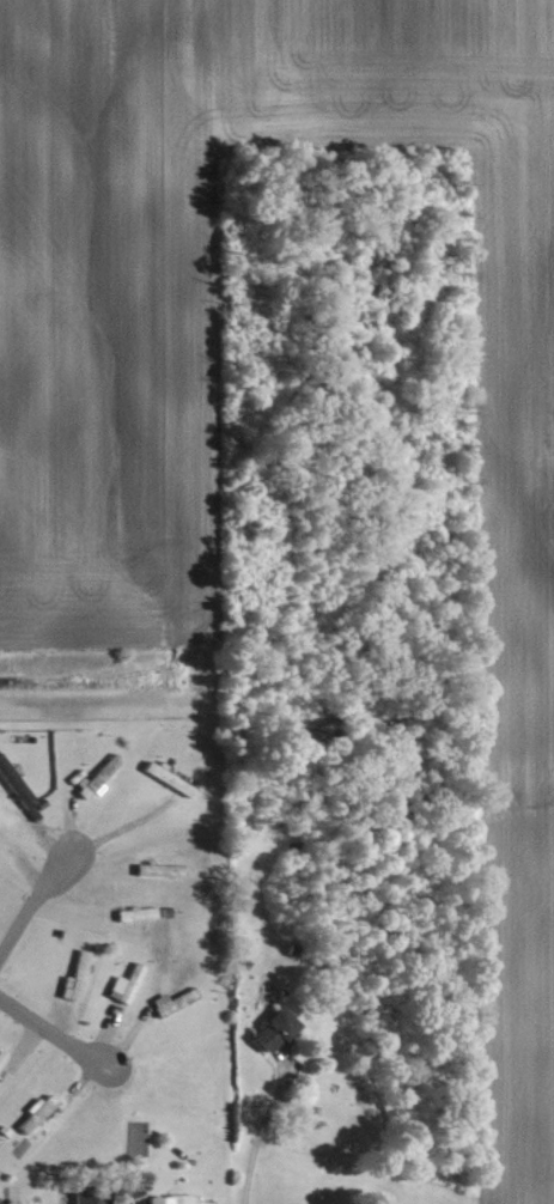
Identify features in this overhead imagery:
building: (157, 774)
building: (90, 776)
building: (13, 786)
building: (158, 869)
road: (29, 910)
building: (130, 912)
building: (71, 975)
building: (121, 983)
building: (169, 999)
building: (264, 1029)
road: (51, 1038)
building: (0, 1056)
building: (32, 1112)
road: (256, 1135)
building: (83, 1197)
building: (166, 1199)

